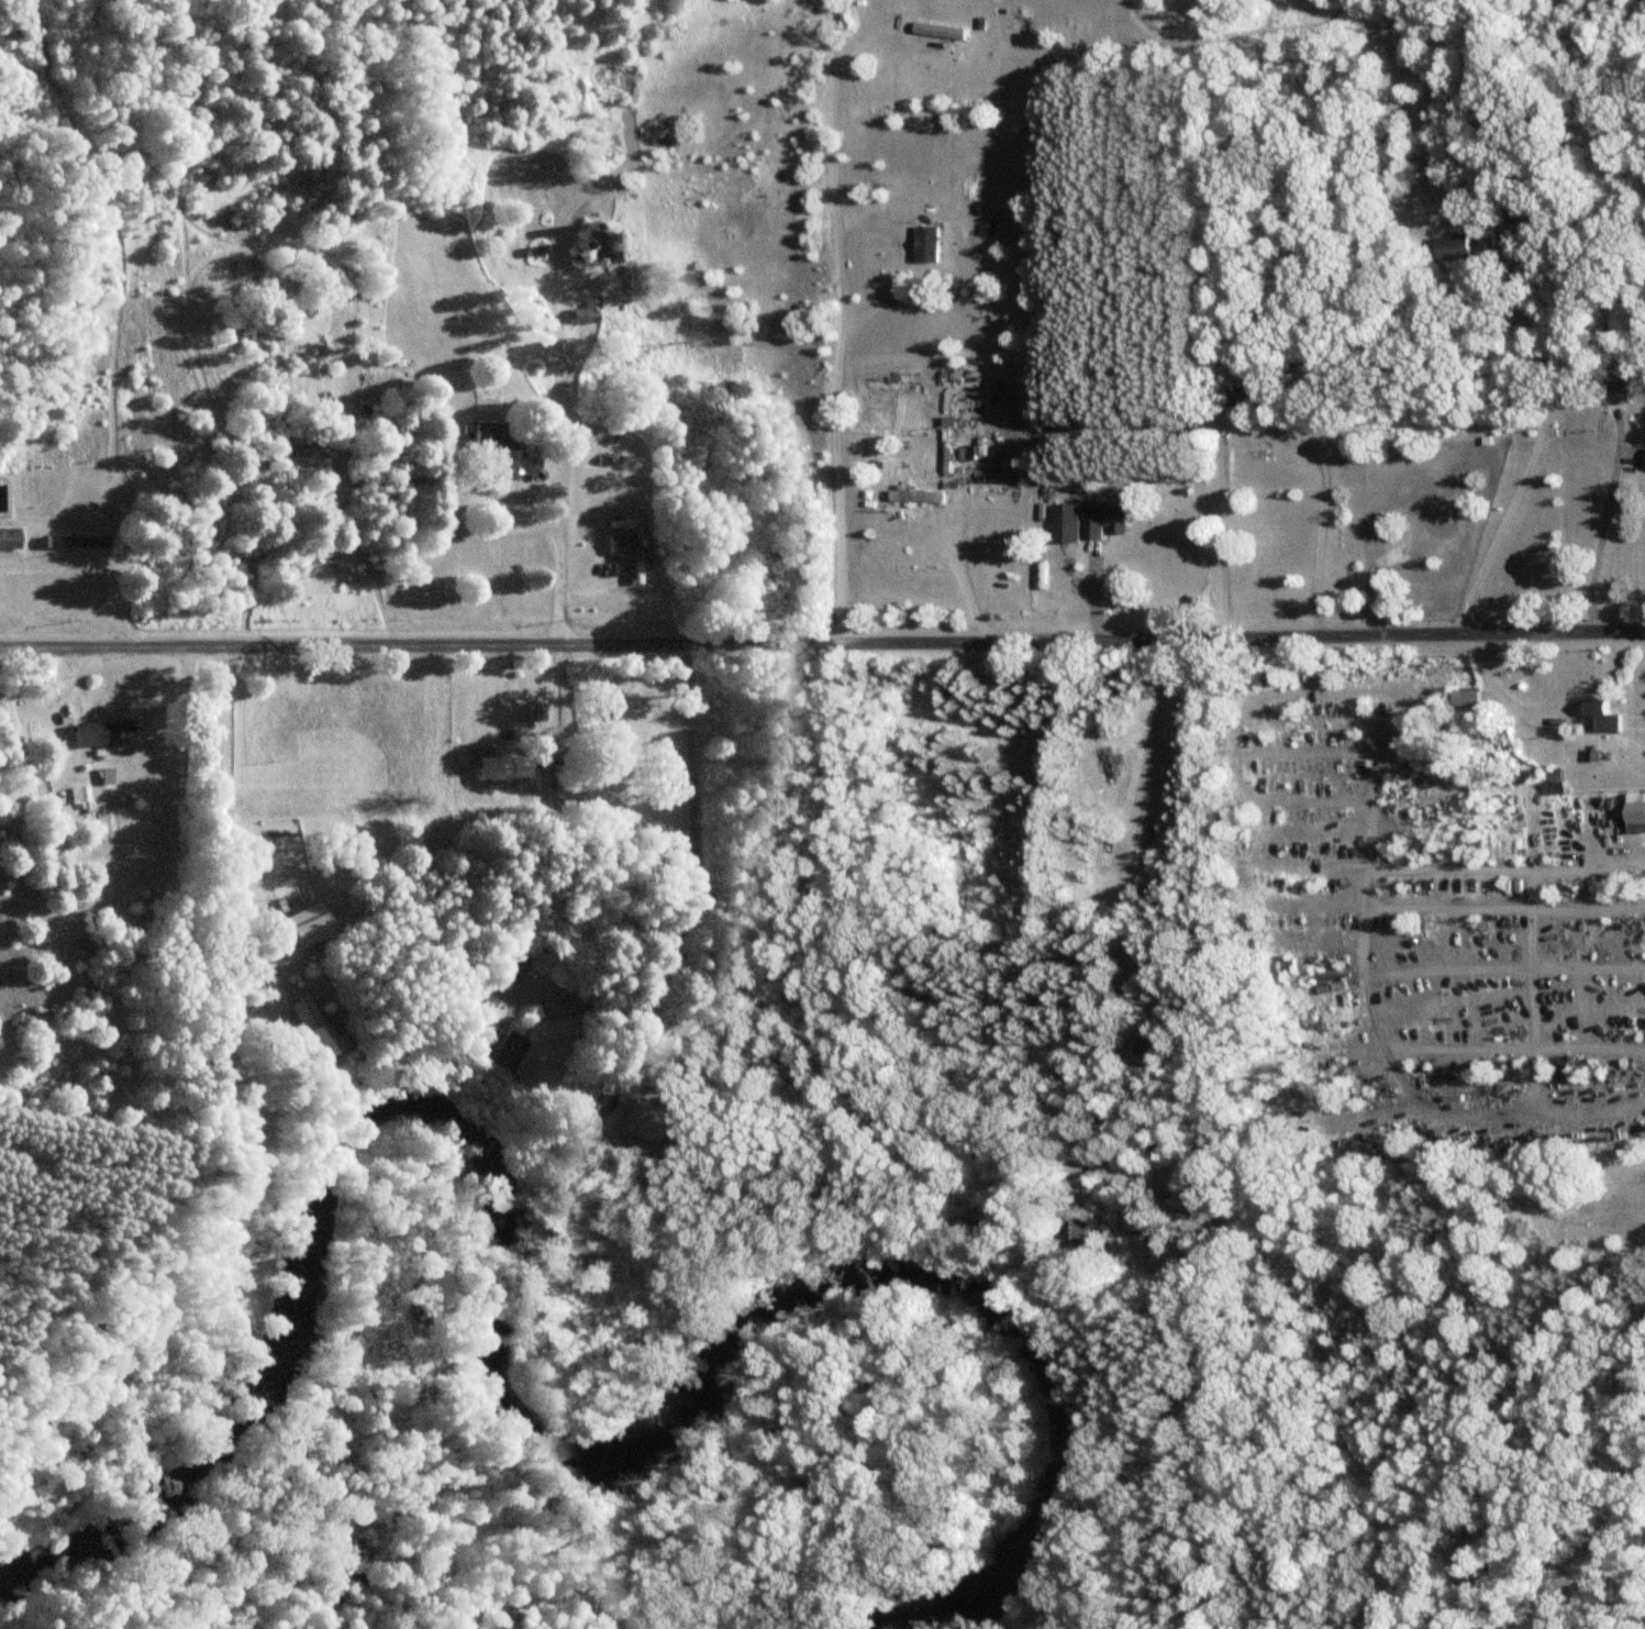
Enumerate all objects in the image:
building: (943, 31)
building: (932, 241)
building: (1454, 248)
building: (583, 318)
road: (848, 320)
road: (980, 354)
building: (511, 448)
road: (1531, 456)
building: (921, 497)
building: (1109, 520)
road: (1321, 520)
road: (563, 532)
building: (9, 540)
road: (948, 541)
road: (1599, 541)
building: (76, 542)
building: (623, 544)
road: (822, 642)
building: (1471, 700)
road: (1548, 713)
building: (1603, 718)
building: (99, 733)
building: (504, 769)
building: (1553, 782)
building: (80, 797)
road: (218, 827)
road: (693, 878)
road: (1126, 891)
building: (311, 924)
building: (513, 965)
road: (1366, 975)
building: (1334, 987)
road: (587, 1011)
building: (313, 1029)
building: (510, 1049)
river: (516, 1414)

